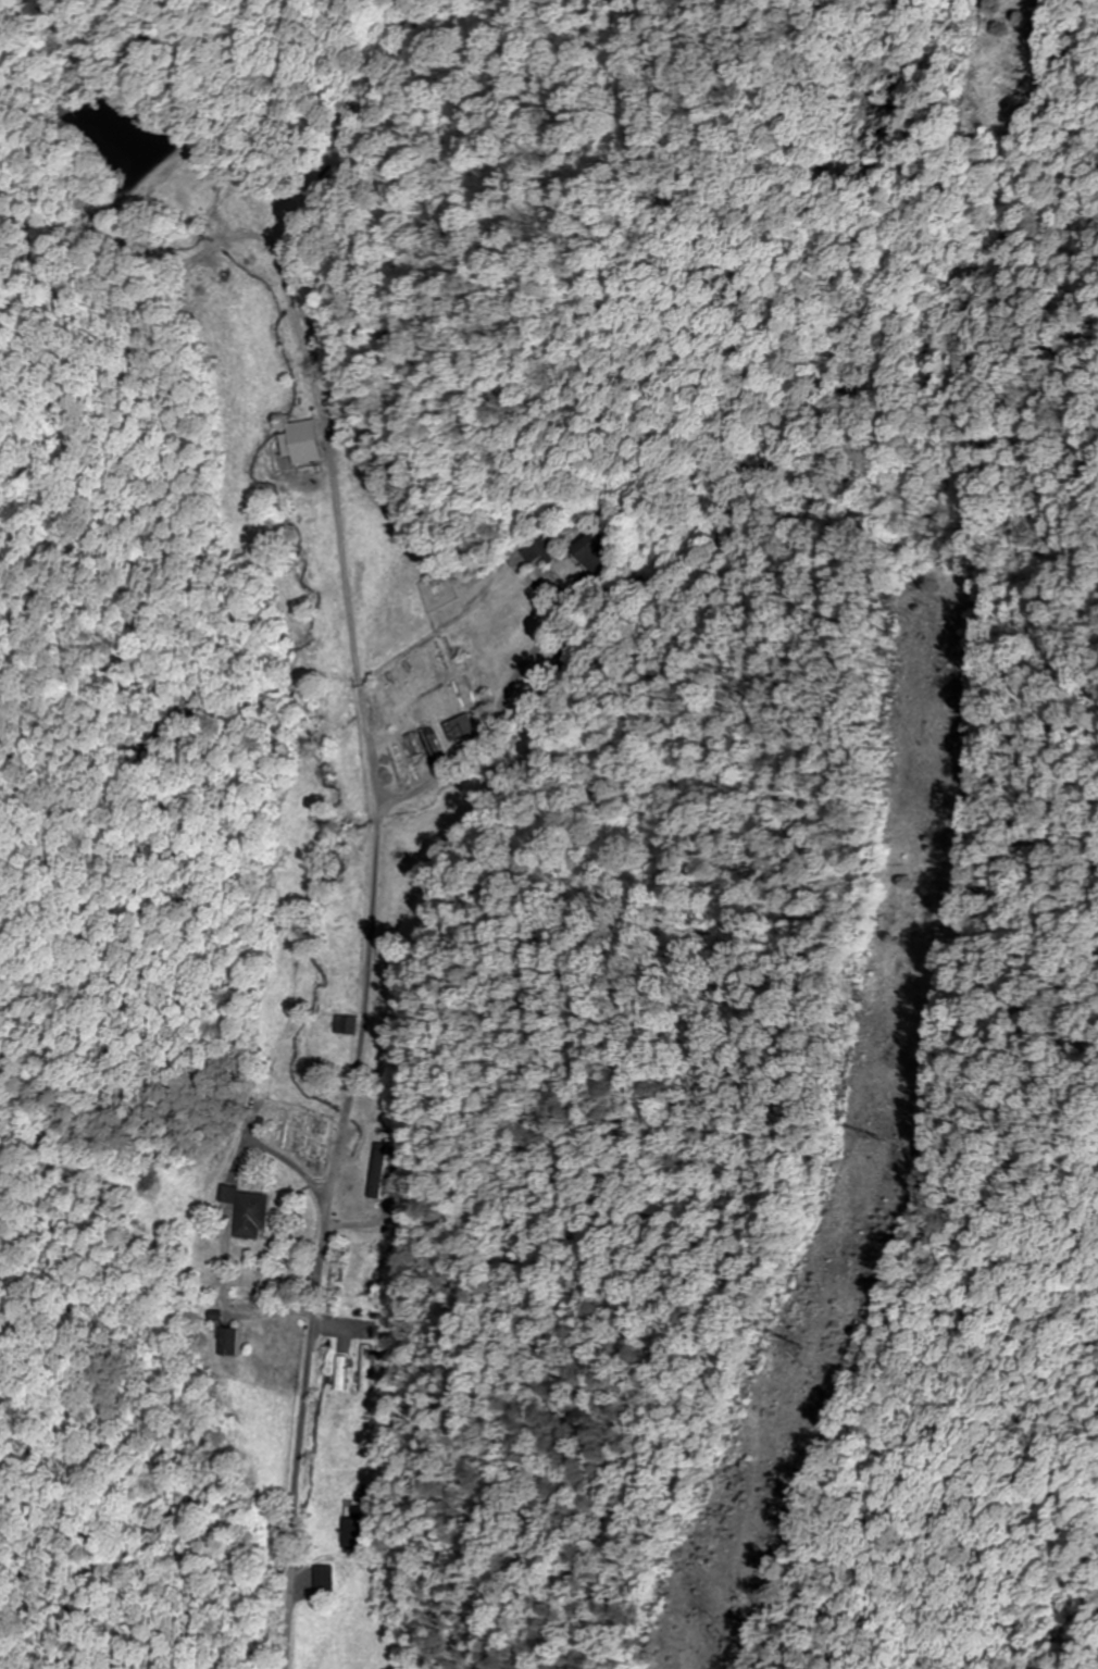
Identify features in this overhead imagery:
building: (534, 549)
building: (600, 556)
building: (460, 727)
building: (344, 1025)
power tower: (884, 1135)
building: (376, 1171)
building: (248, 1211)
building: (228, 1341)
power tower: (788, 1341)
building: (366, 1369)
road: (309, 1371)
building: (340, 1372)
building: (353, 1530)
building: (322, 1577)

